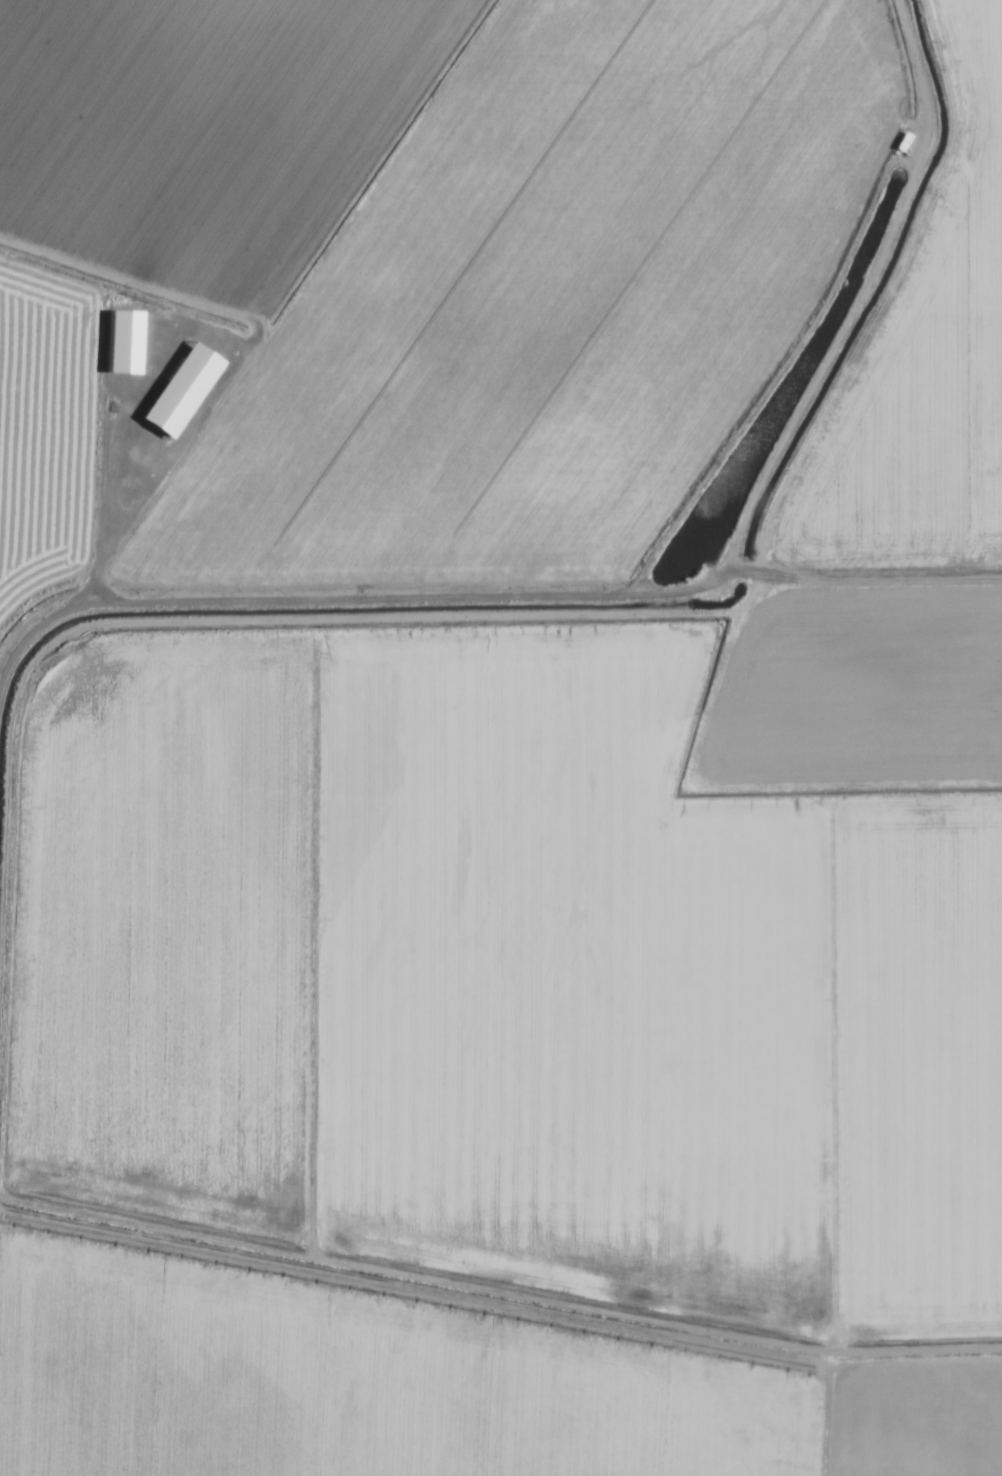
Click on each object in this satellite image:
building: (899, 144)
building: (177, 391)
road: (487, 600)

